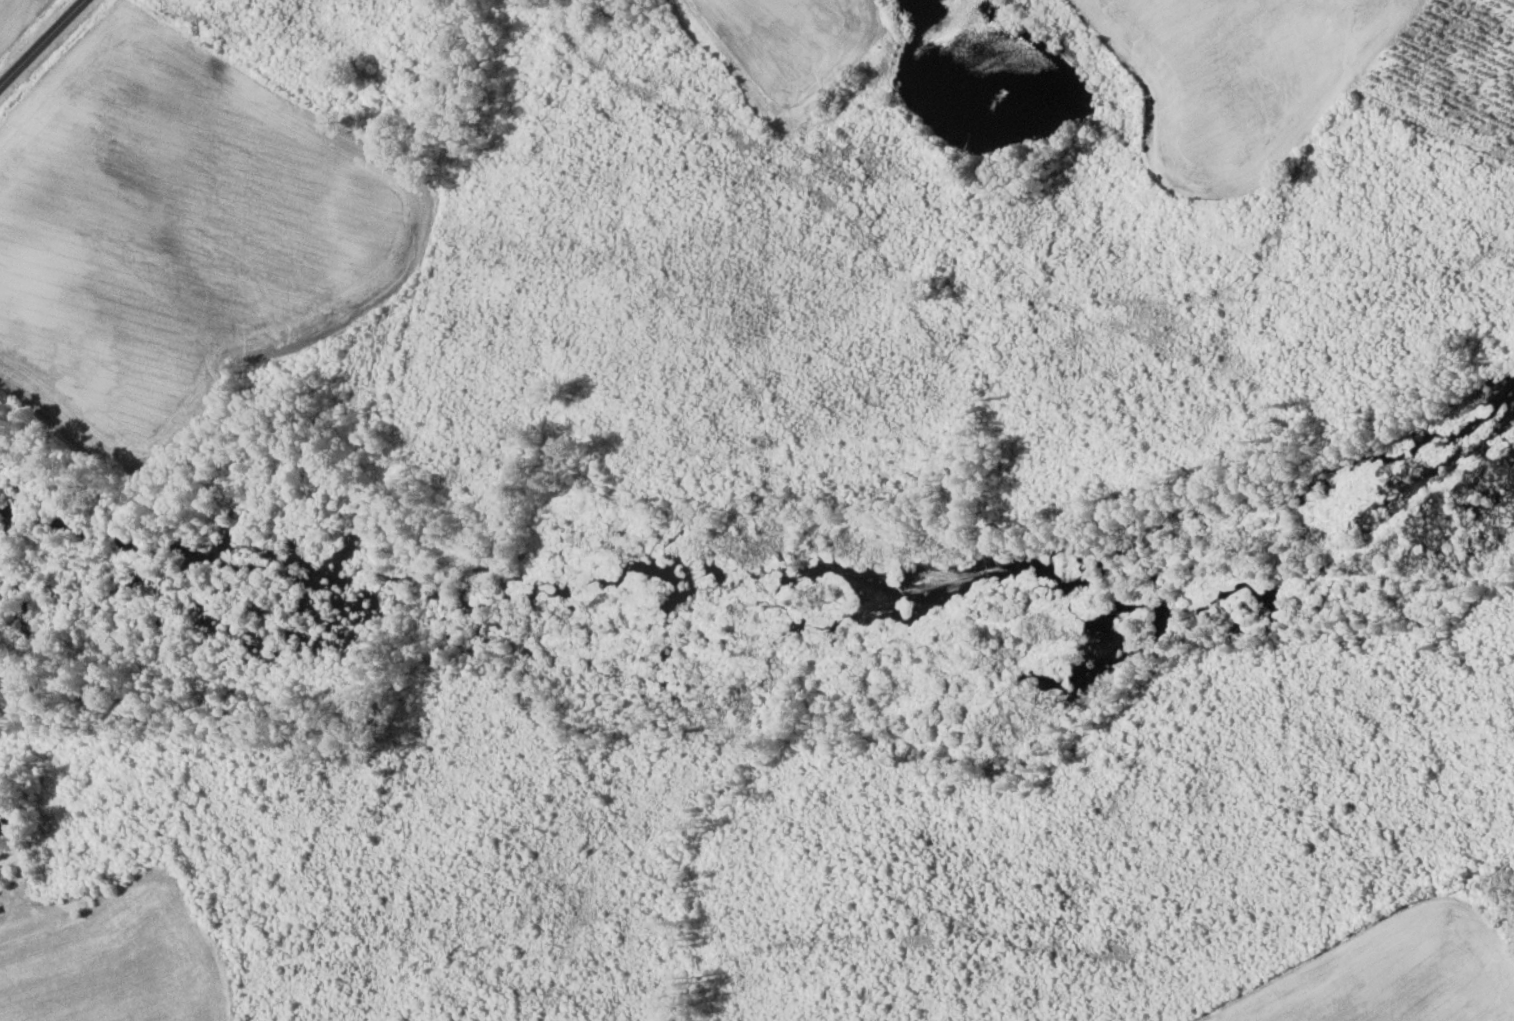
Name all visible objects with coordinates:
road: (41, 42)

